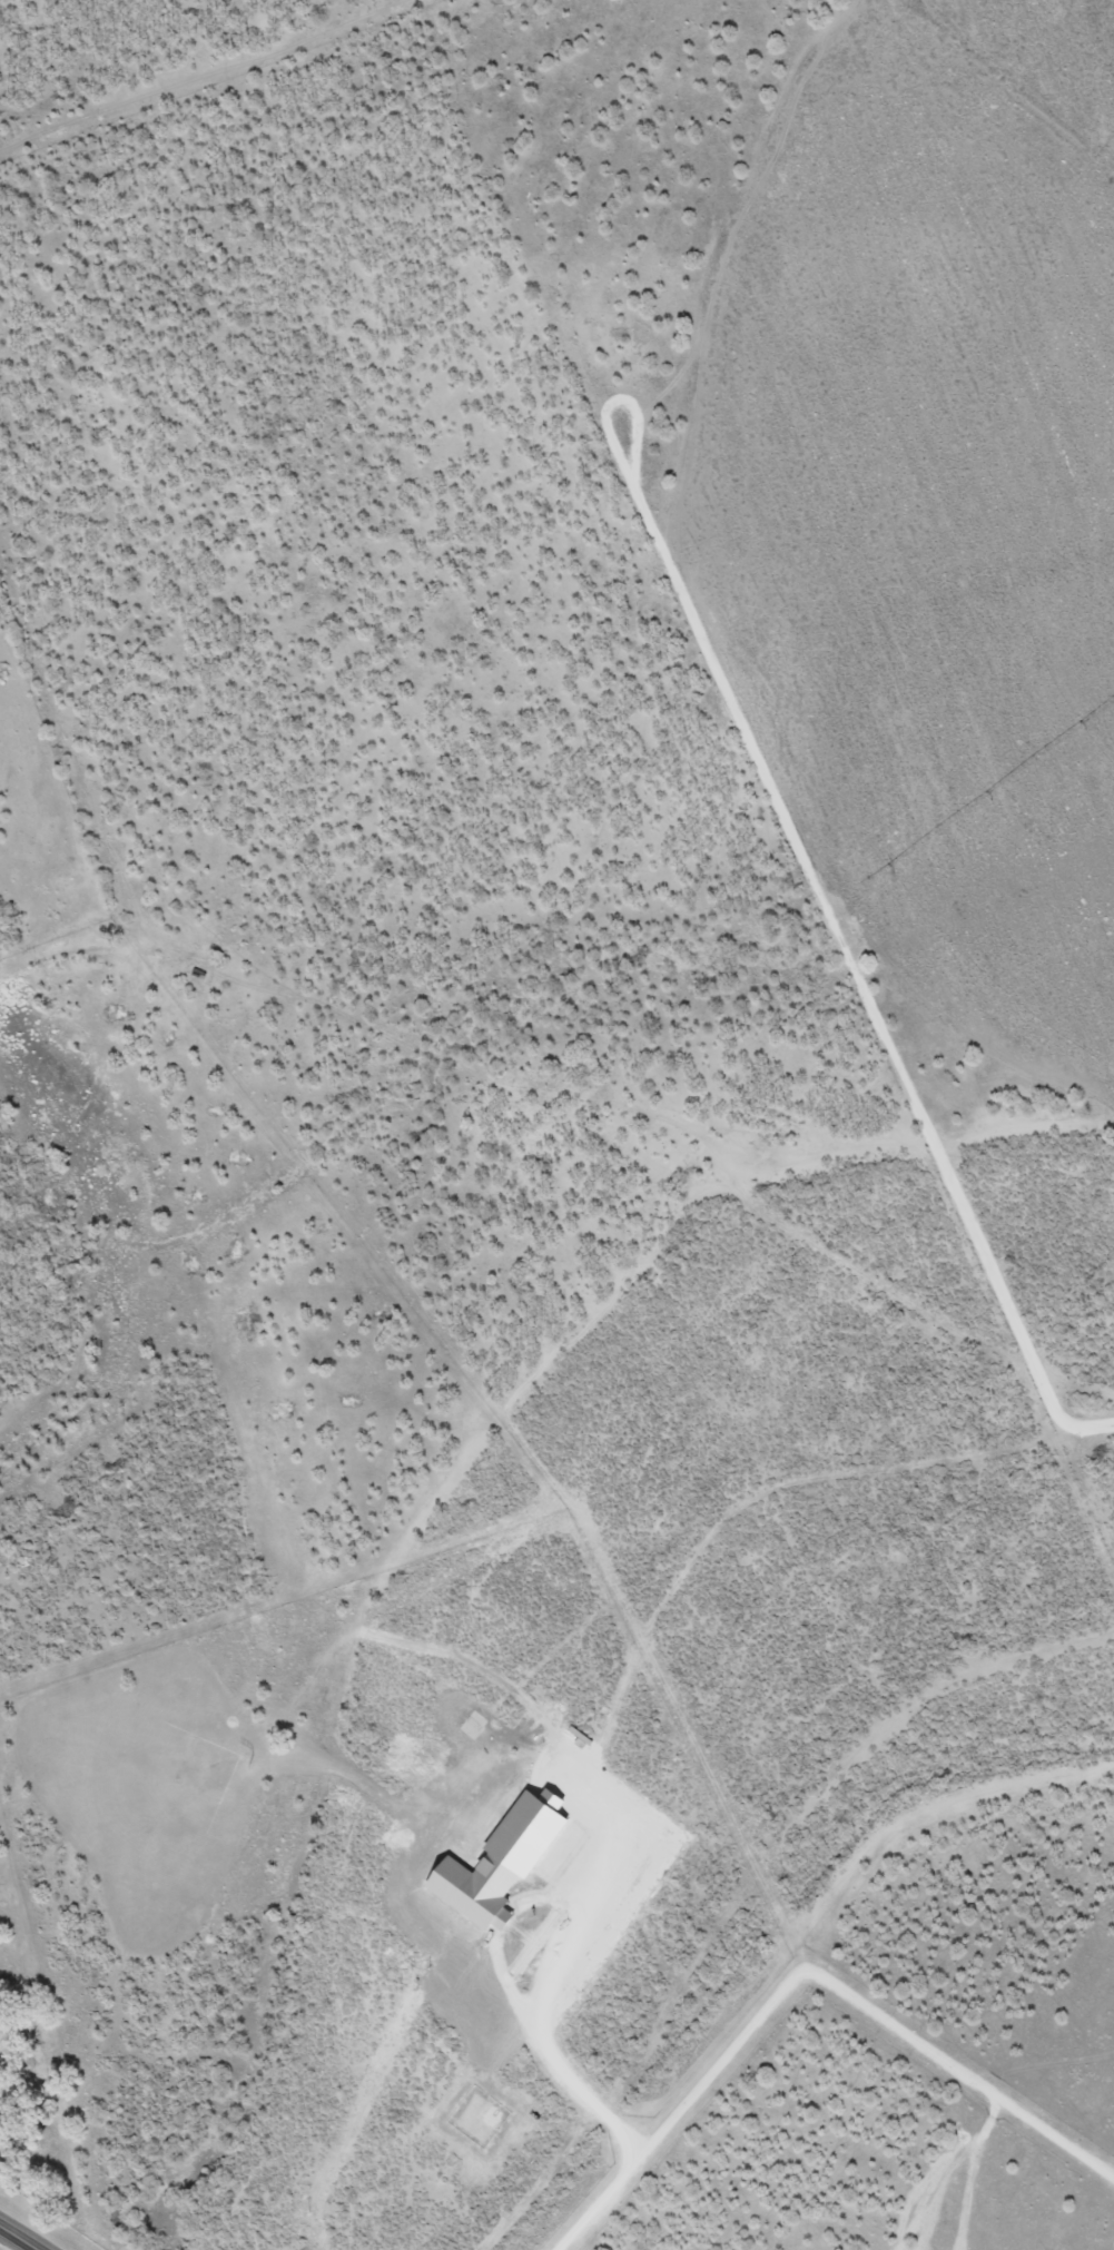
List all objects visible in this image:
road: (996, 1346)
road: (18, 2238)

